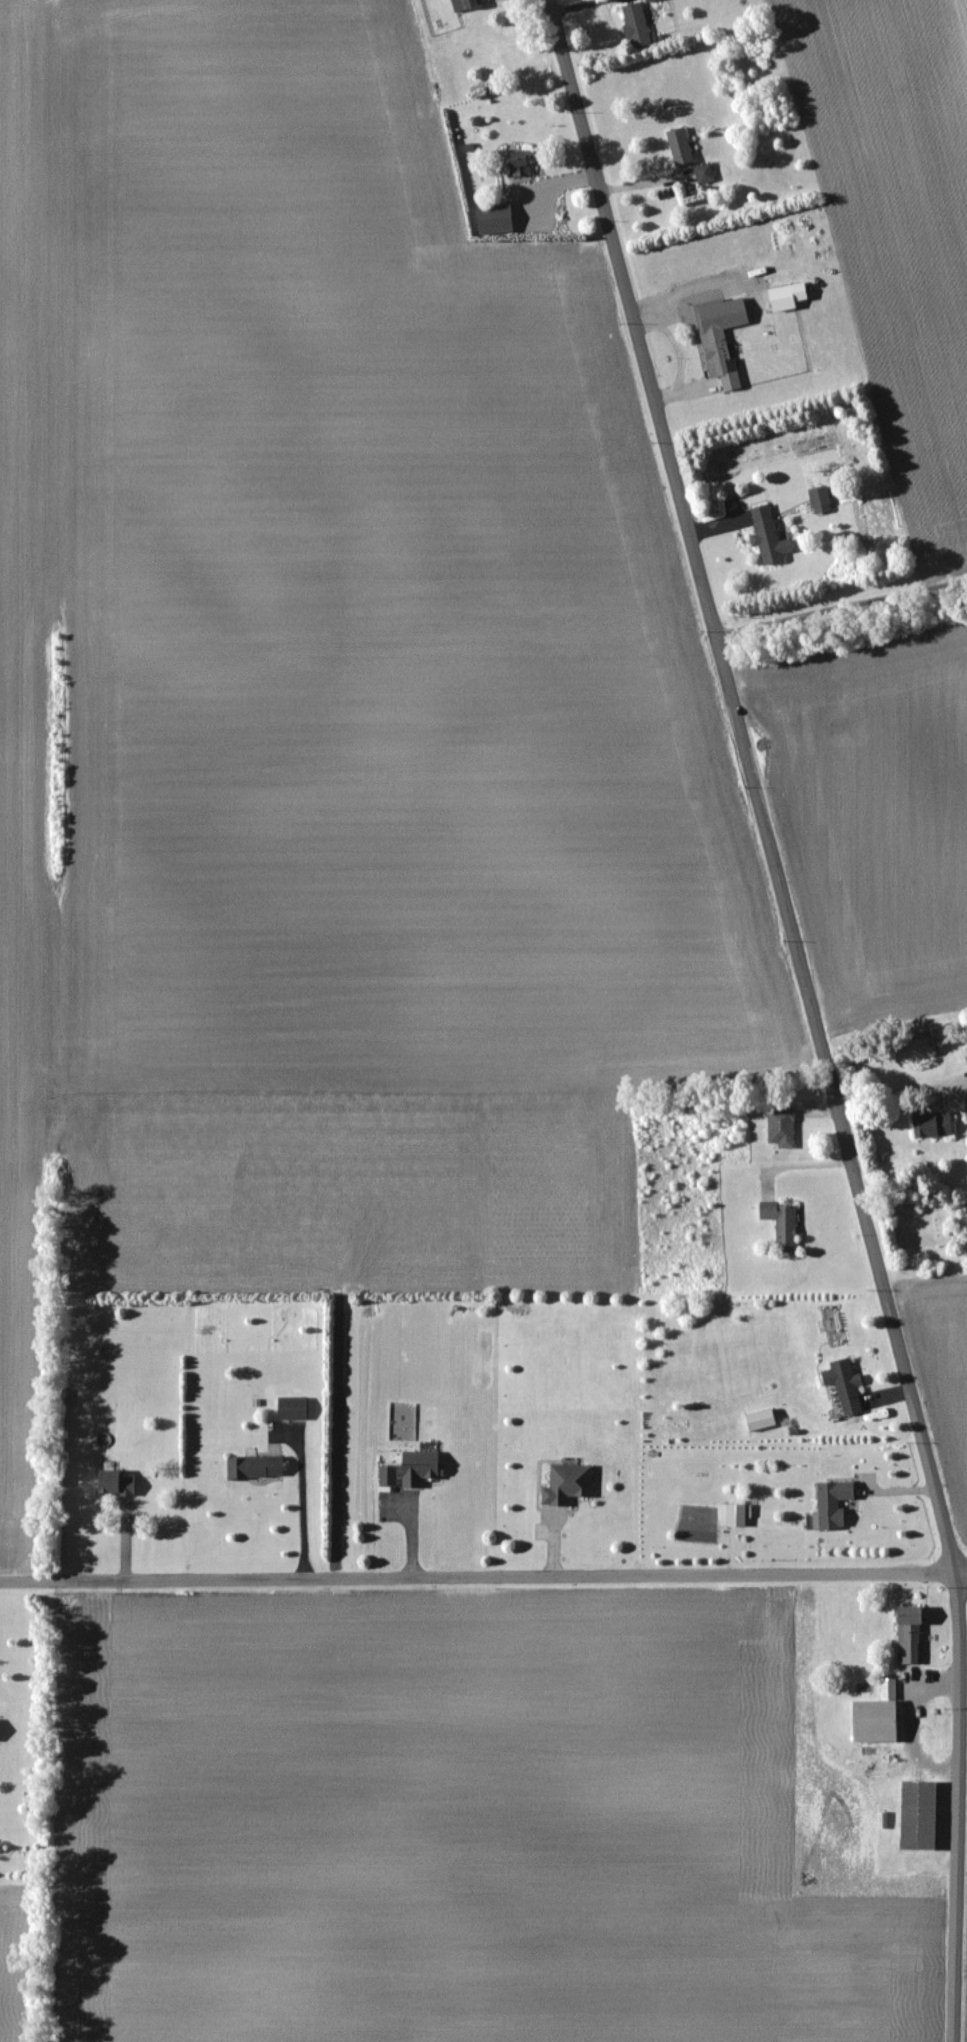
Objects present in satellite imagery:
building: (649, 0)
building: (464, 5)
building: (635, 27)
building: (678, 147)
building: (518, 164)
building: (703, 174)
building: (494, 219)
building: (781, 298)
road: (680, 354)
building: (721, 360)
building: (819, 500)
building: (768, 537)
road: (841, 610)
road: (844, 638)
road: (811, 1013)
building: (920, 1049)
road: (902, 1089)
building: (931, 1124)
building: (780, 1126)
road: (796, 1165)
building: (781, 1224)
building: (843, 1385)
building: (291, 1408)
building: (759, 1421)
building: (254, 1467)
building: (418, 1468)
building: (113, 1483)
building: (566, 1484)
building: (832, 1504)
road: (301, 1506)
building: (734, 1515)
road: (483, 1578)
building: (908, 1634)
building: (875, 1716)
building: (917, 1816)

